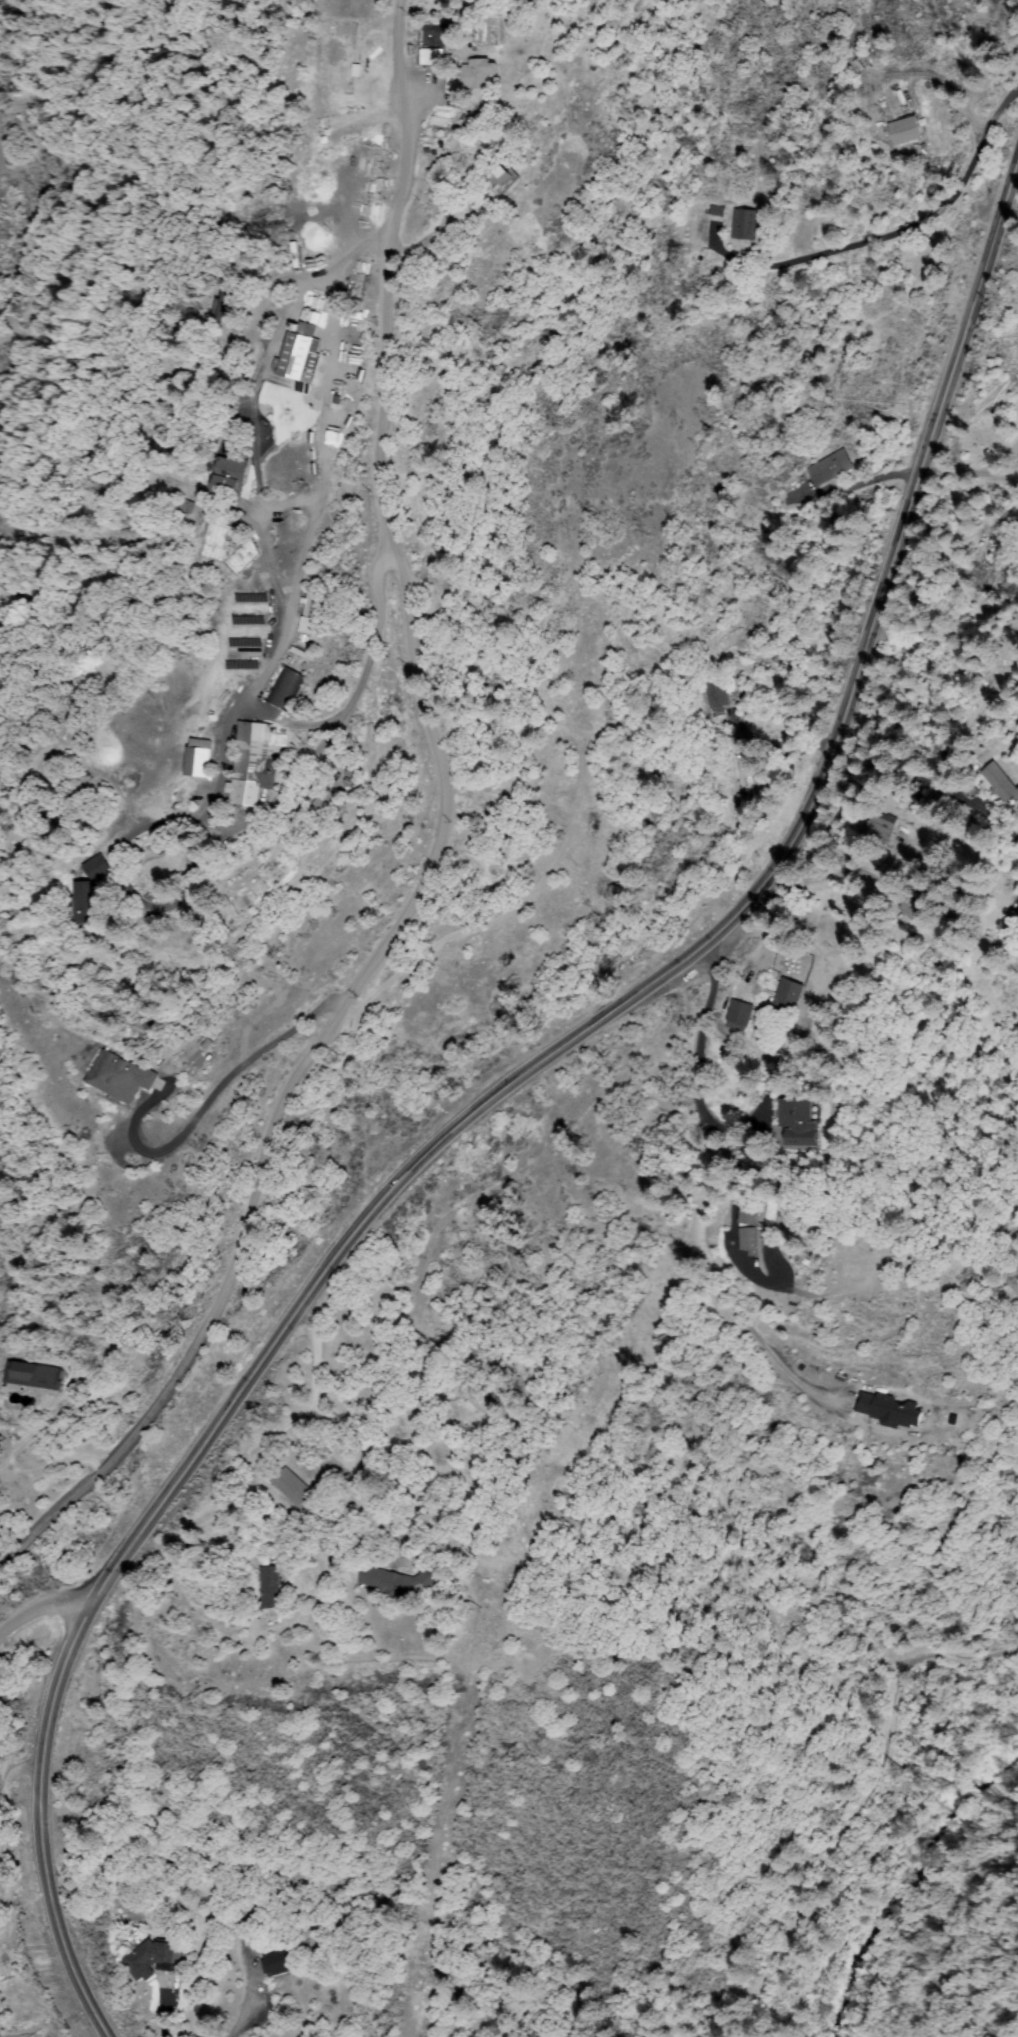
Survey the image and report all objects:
building: (452, 30)
building: (478, 74)
building: (499, 179)
building: (746, 225)
building: (227, 308)
building: (358, 317)
building: (357, 357)
building: (300, 358)
building: (831, 468)
building: (228, 477)
road: (972, 482)
building: (306, 605)
building: (304, 626)
building: (303, 655)
building: (286, 689)
building: (718, 694)
building: (200, 761)
building: (254, 763)
building: (1000, 782)
building: (743, 805)
building: (325, 806)
building: (879, 829)
building: (293, 832)
road: (443, 835)
building: (88, 866)
building: (99, 869)
building: (73, 900)
building: (922, 900)
building: (87, 902)
building: (1017, 904)
building: (906, 911)
building: (191, 915)
building: (1008, 927)
building: (927, 958)
road: (714, 991)
building: (789, 998)
building: (739, 1016)
building: (119, 1077)
road: (503, 1100)
building: (800, 1122)
building: (752, 1212)
building: (751, 1240)
building: (34, 1376)
building: (890, 1410)
building: (1, 1444)
building: (290, 1488)
building: (430, 1578)
building: (389, 1583)
building: (269, 1587)
road: (47, 1609)
road: (845, 1824)
building: (153, 1958)
building: (277, 1964)

